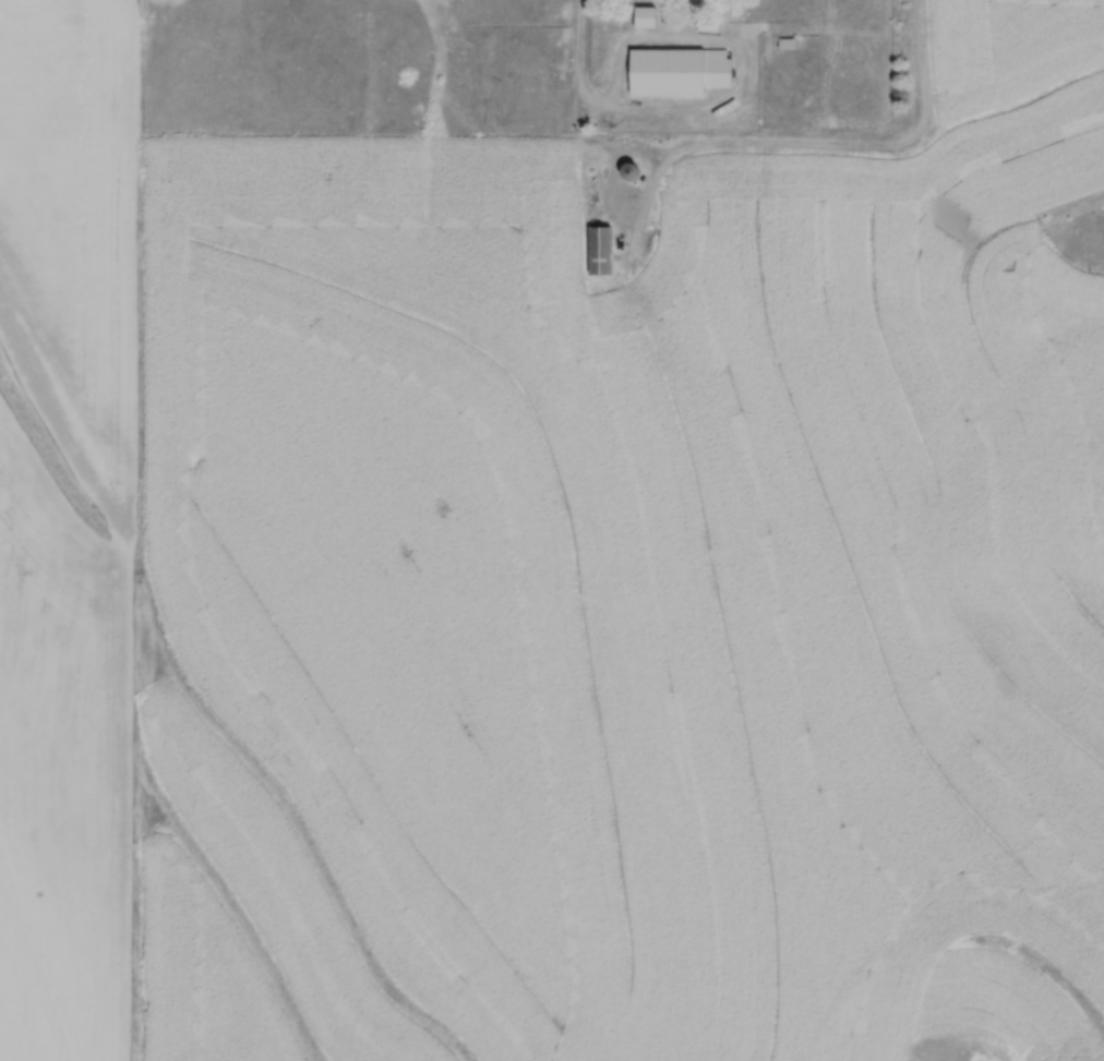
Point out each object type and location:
building: (645, 17)
road: (580, 57)
building: (677, 71)
road: (725, 106)
road: (809, 147)
building: (622, 203)

